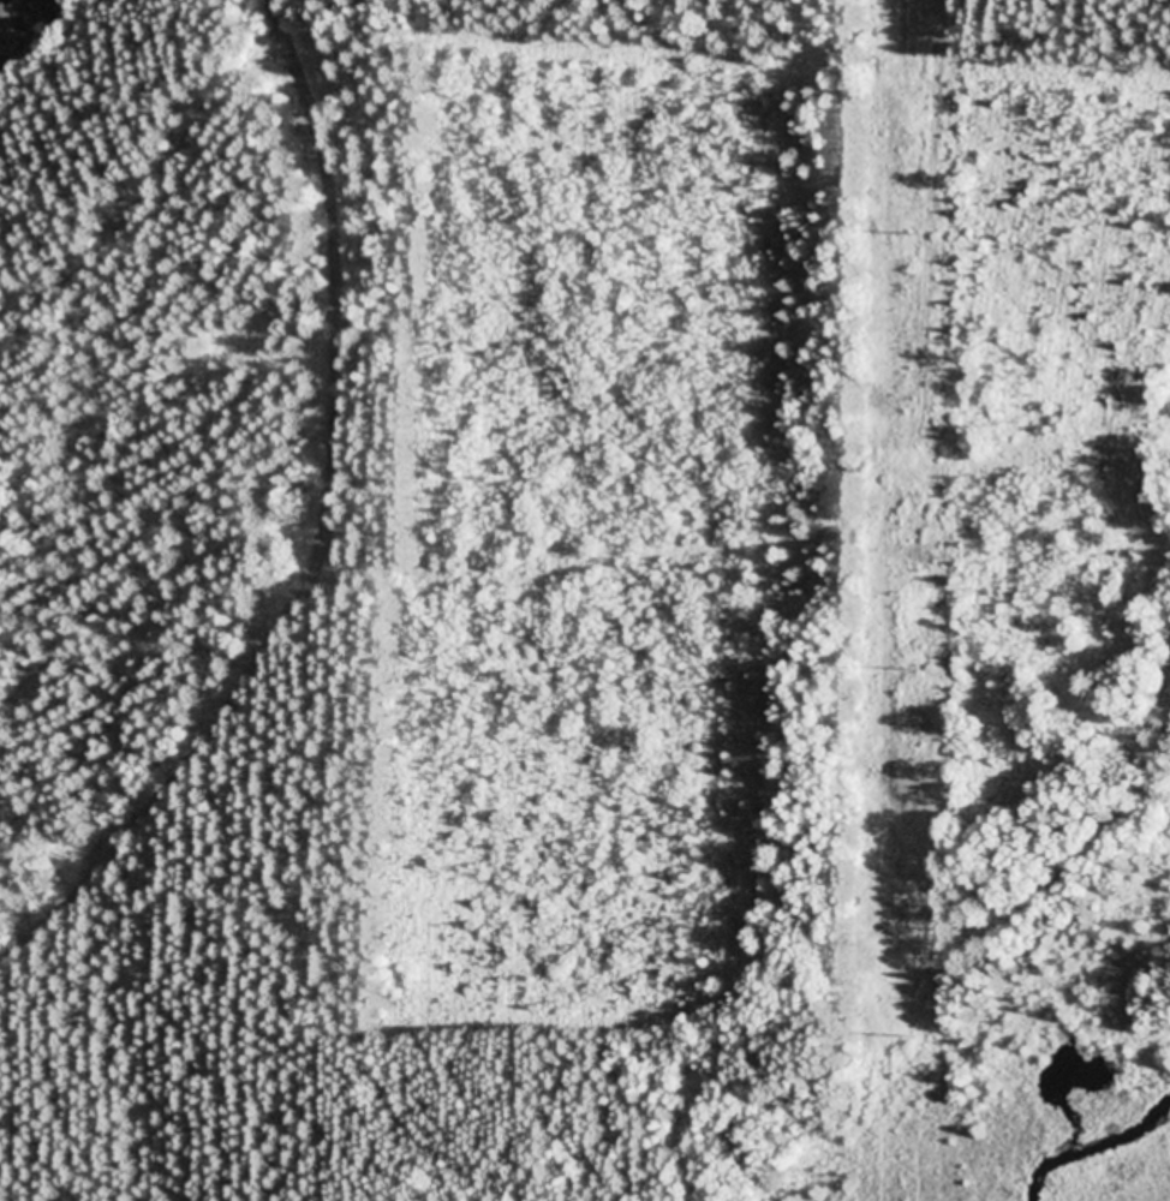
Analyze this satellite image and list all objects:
road: (358, 49)
power tower: (912, 237)
road: (296, 504)
road: (593, 563)
power tower: (909, 673)
road: (298, 993)
power tower: (908, 1041)

